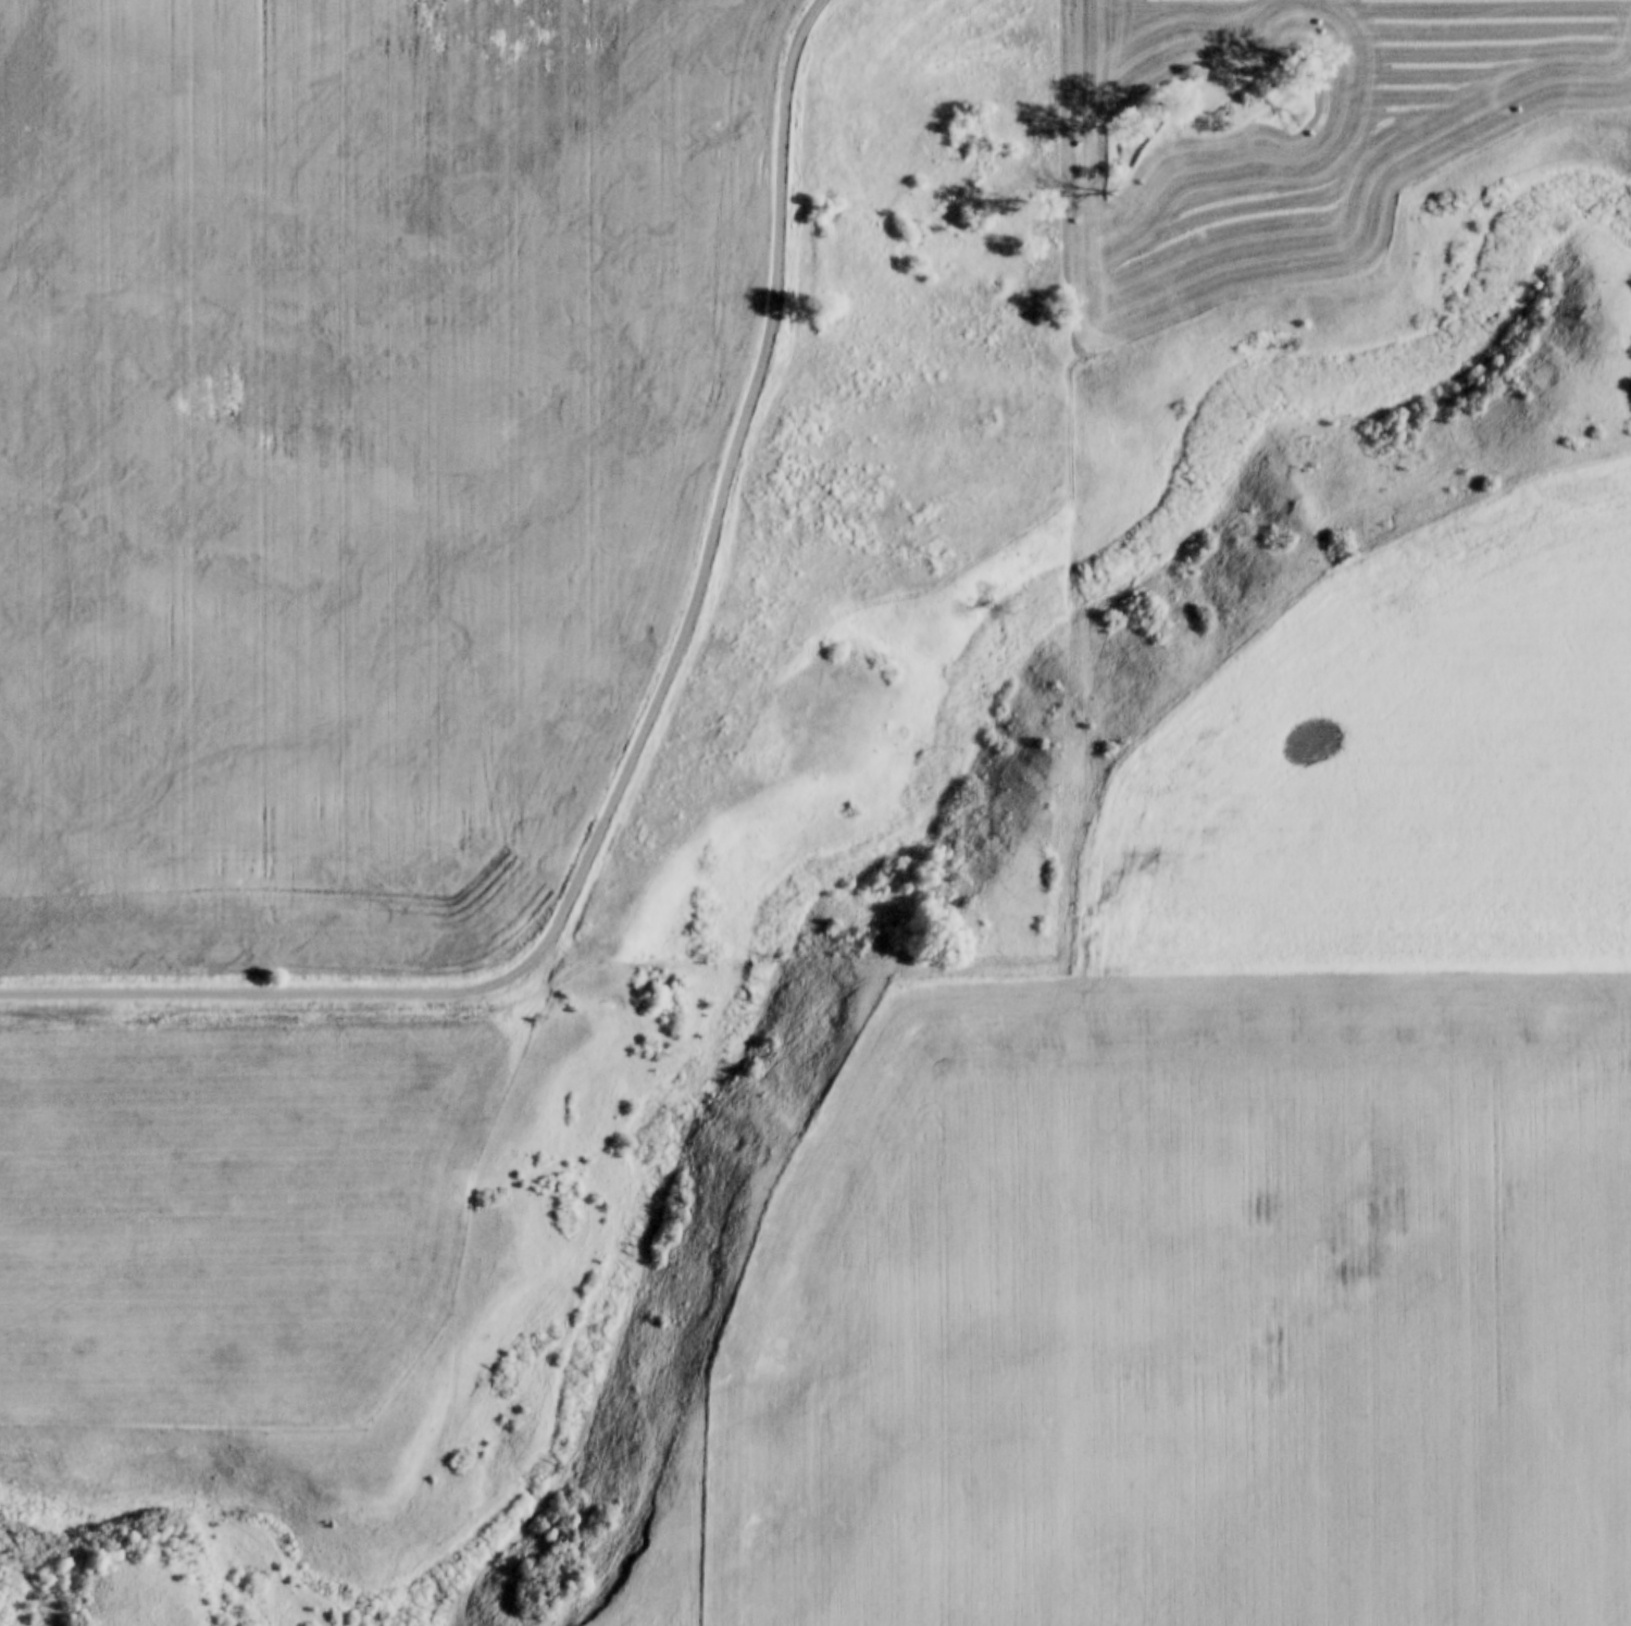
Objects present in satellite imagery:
road: (718, 511)
road: (251, 993)
road: (1064, 1004)

